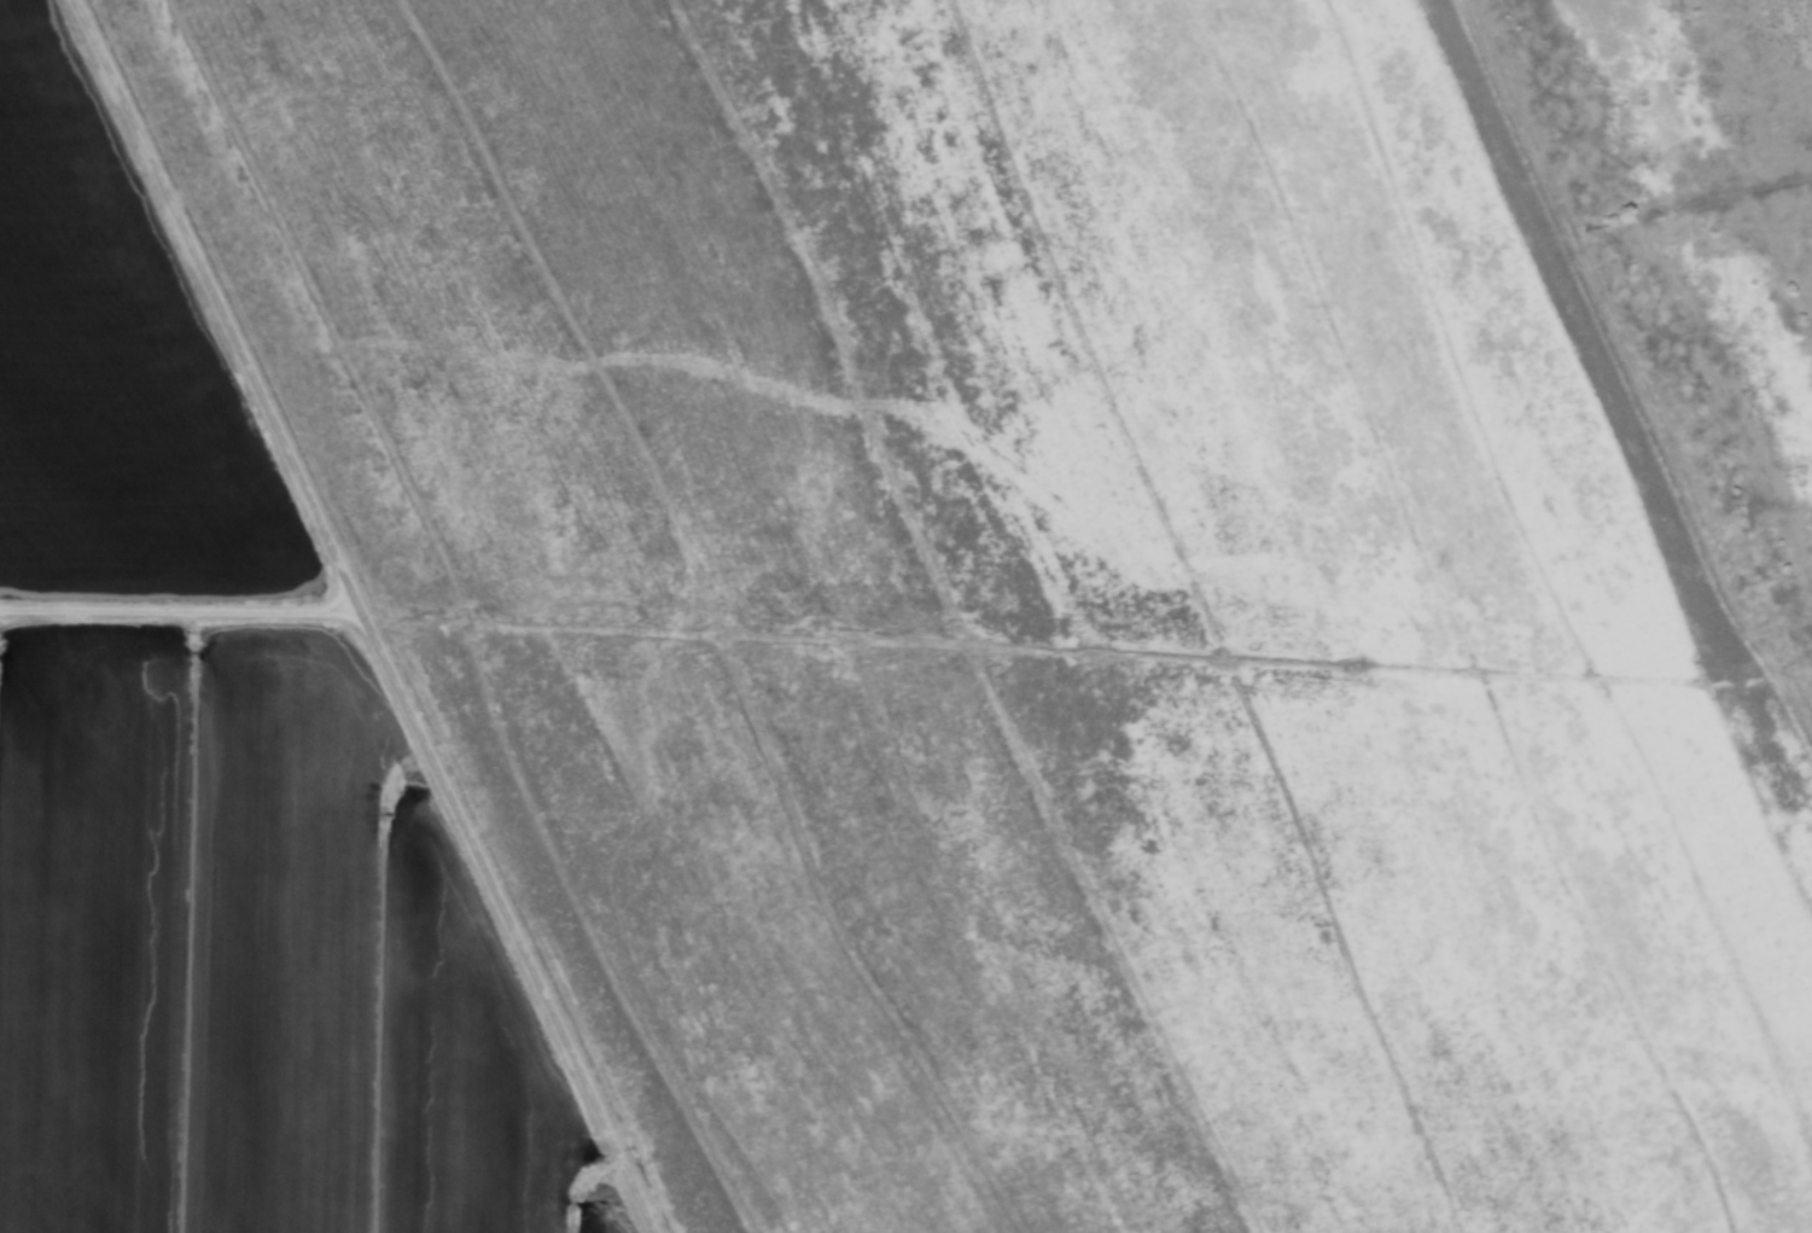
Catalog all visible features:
crop: (845, 641)

